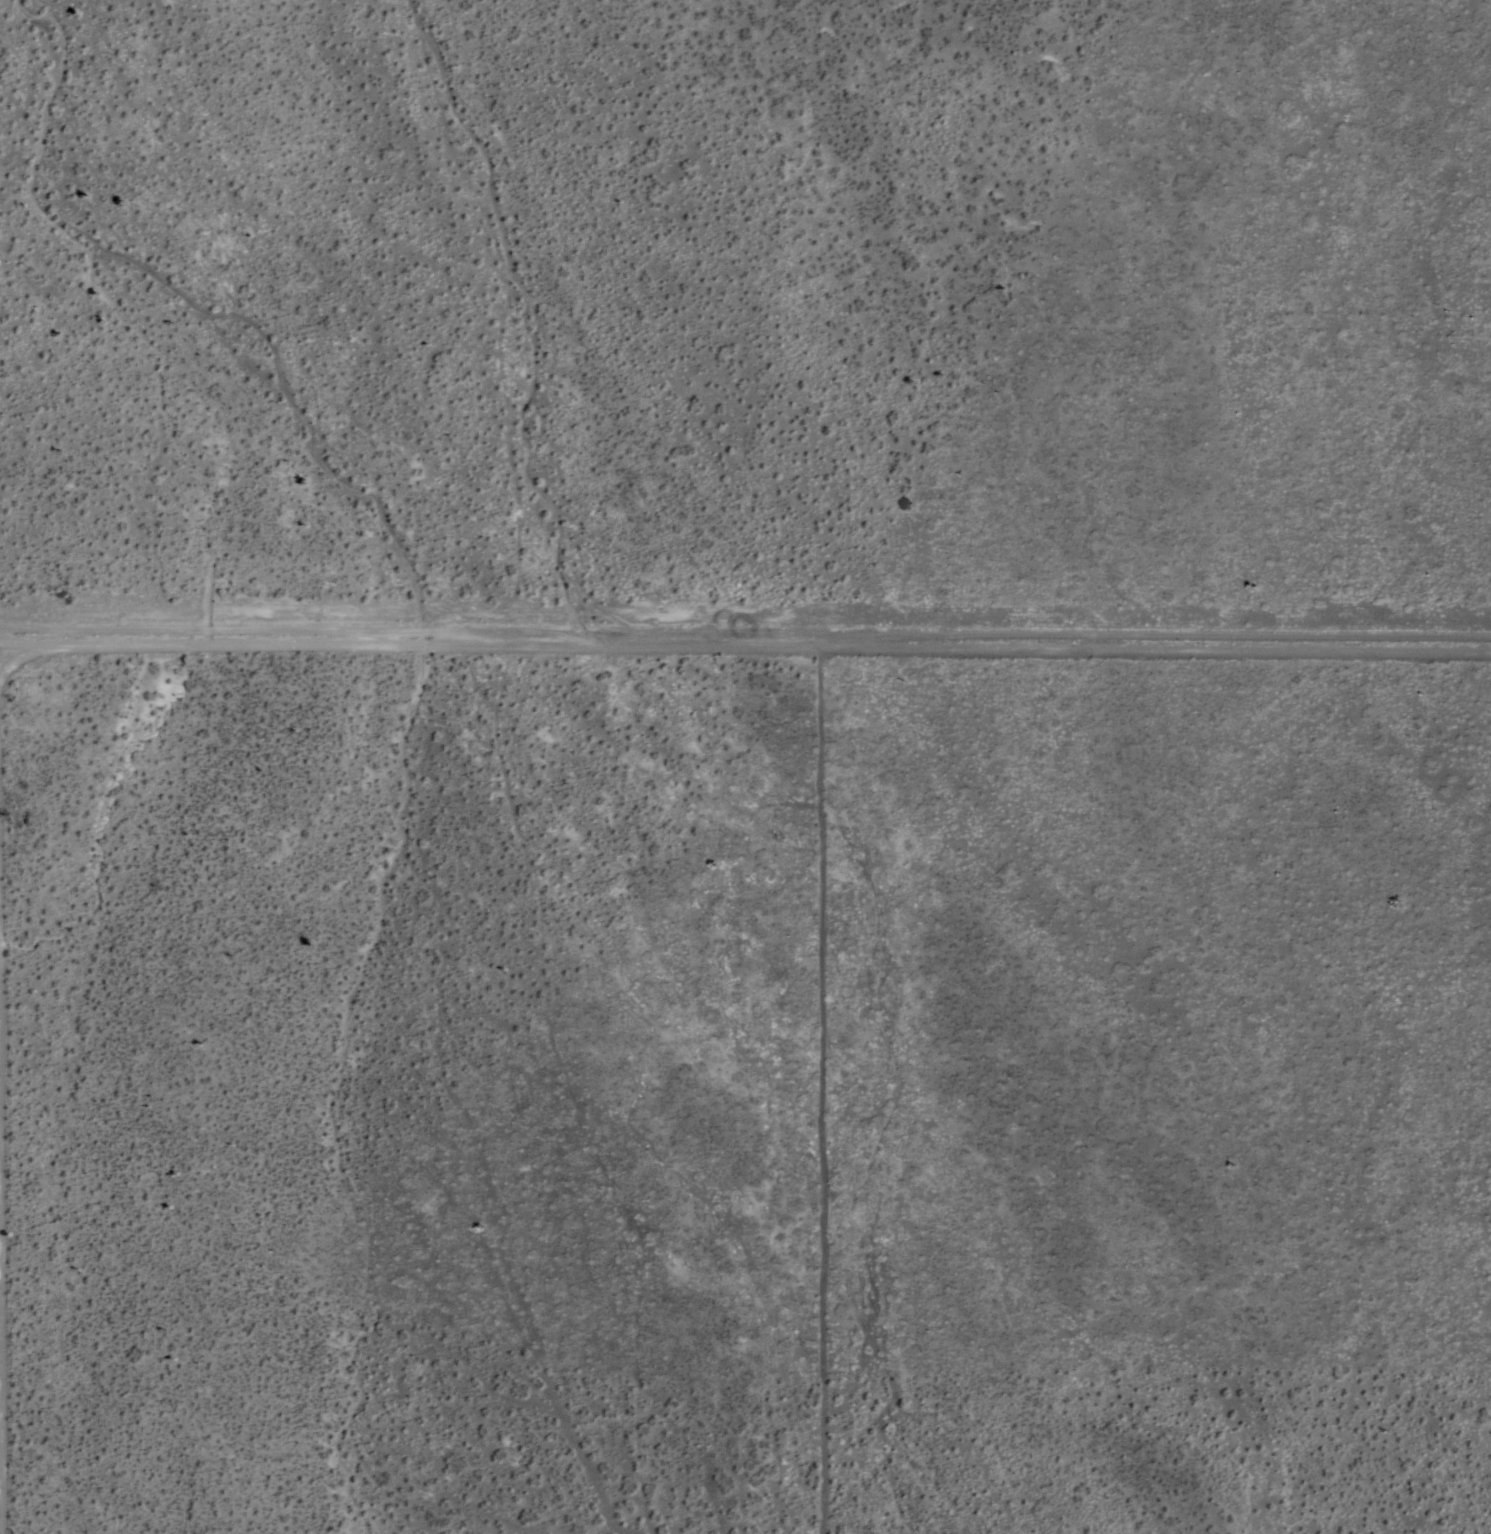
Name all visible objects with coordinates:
road: (745, 643)
road: (826, 1088)

